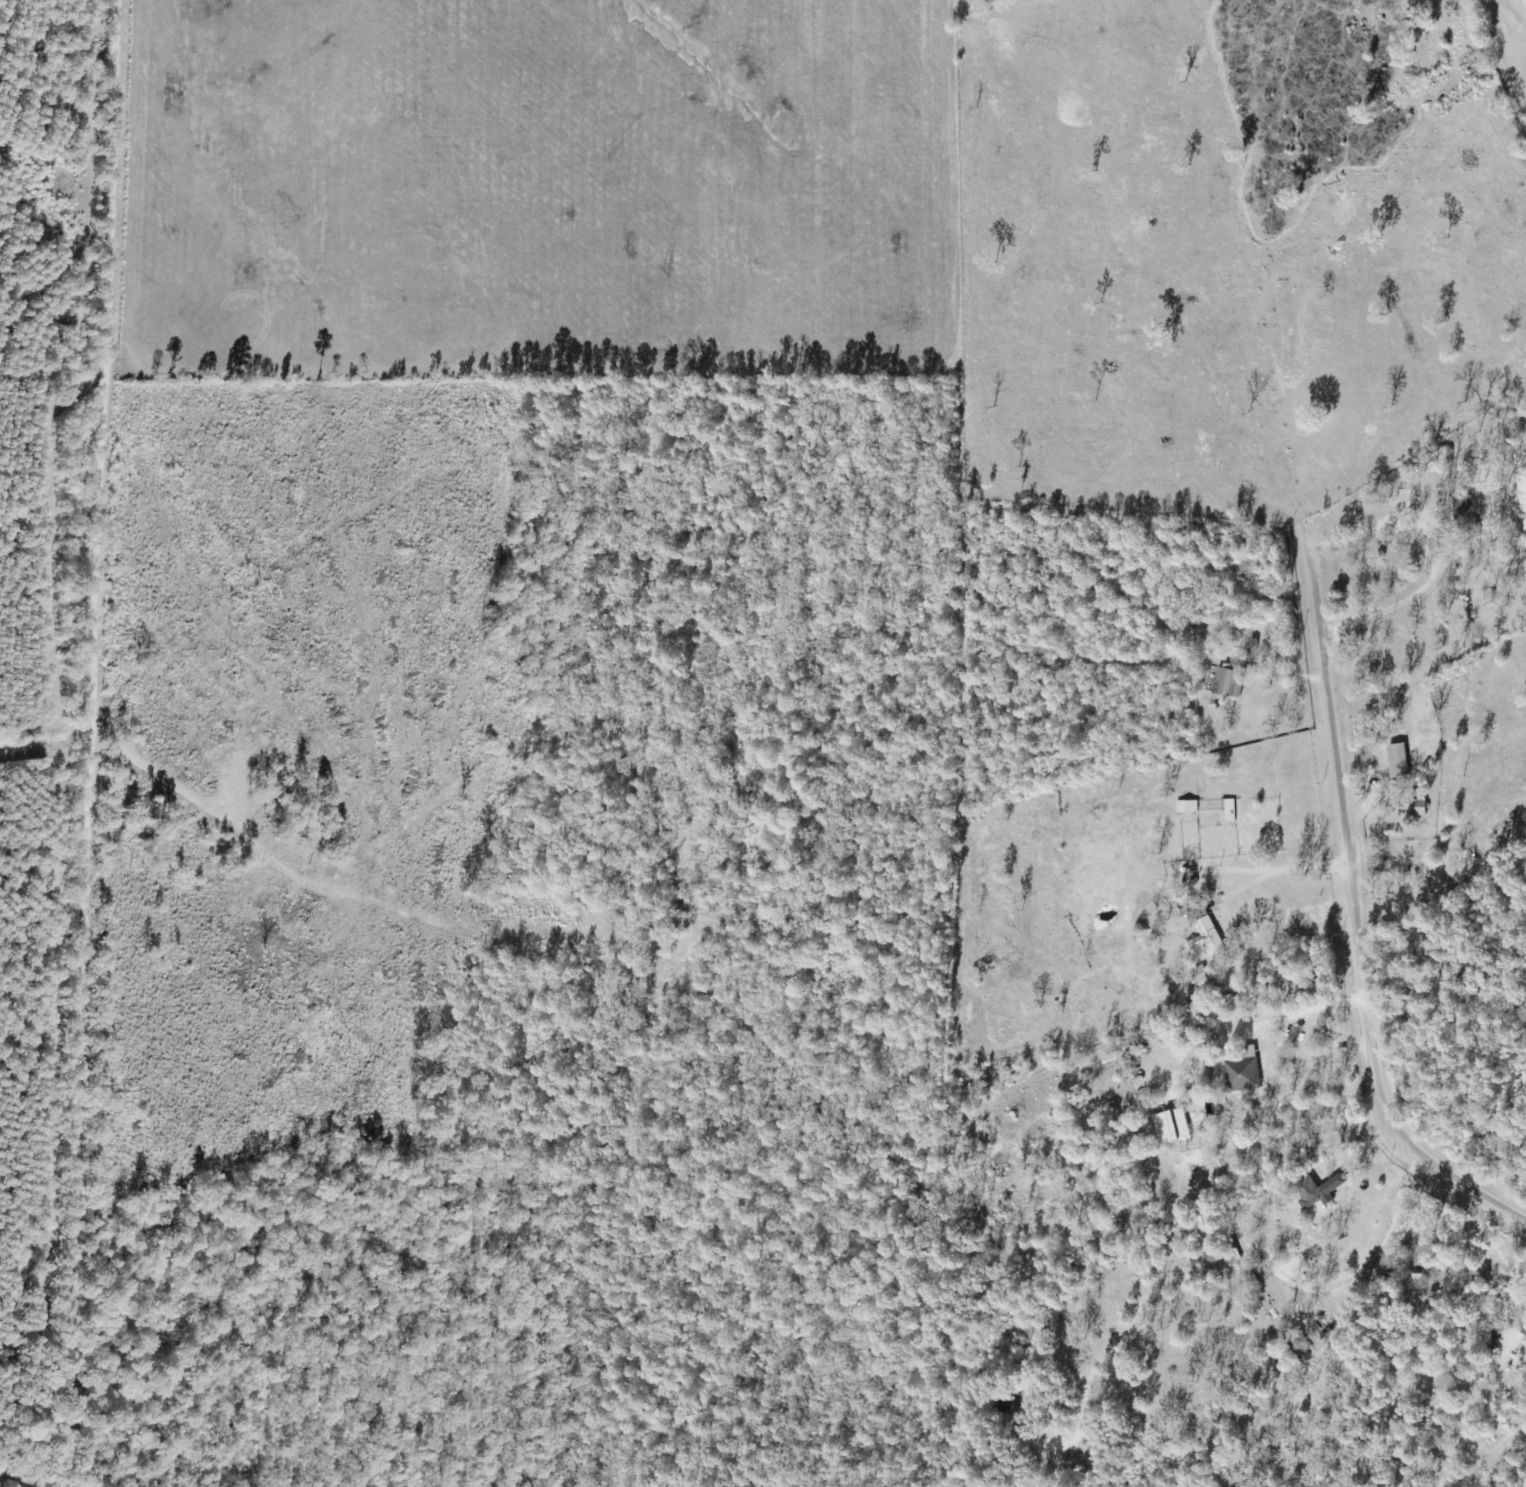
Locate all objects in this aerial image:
road: (538, 408)
building: (1228, 684)
road: (958, 739)
road: (114, 743)
building: (1398, 761)
road: (57, 770)
building: (1187, 807)
building: (1419, 809)
road: (1356, 919)
building: (1210, 936)
building: (1243, 1071)
building: (1172, 1127)
building: (1317, 1192)

